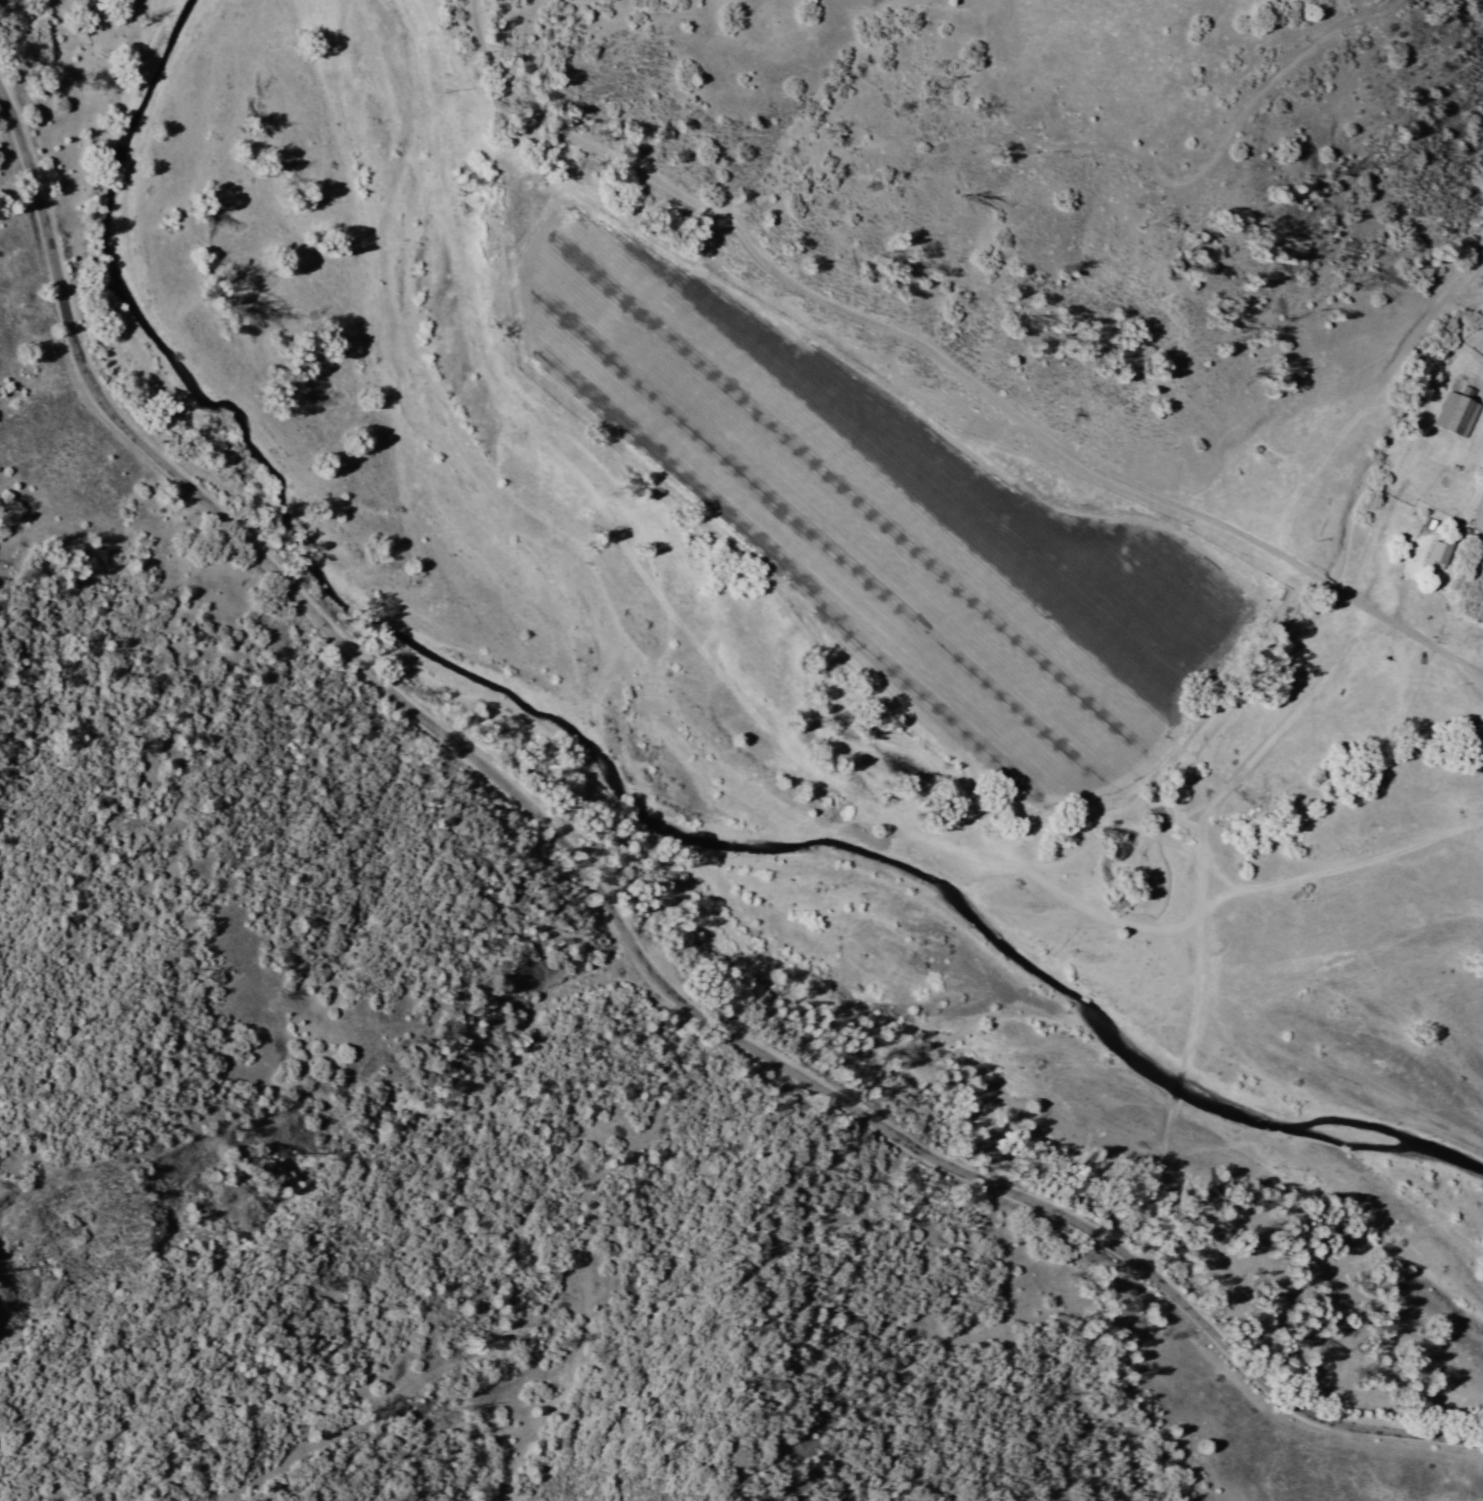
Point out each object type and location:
road: (947, 363)
building: (1456, 416)
building: (1422, 520)
river: (295, 523)
crop: (956, 551)
building: (1441, 555)
road: (611, 911)
river: (1150, 1049)

